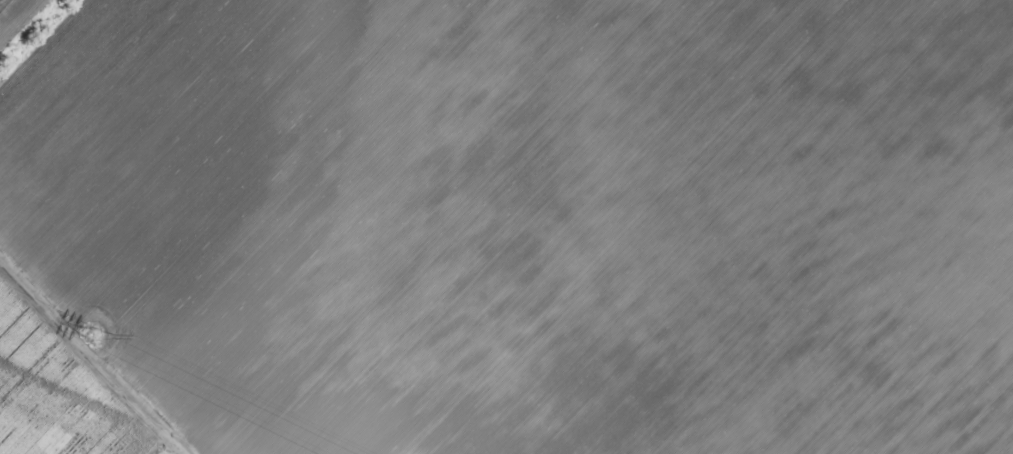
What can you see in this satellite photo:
road: (80, 294)
power tower: (94, 334)

